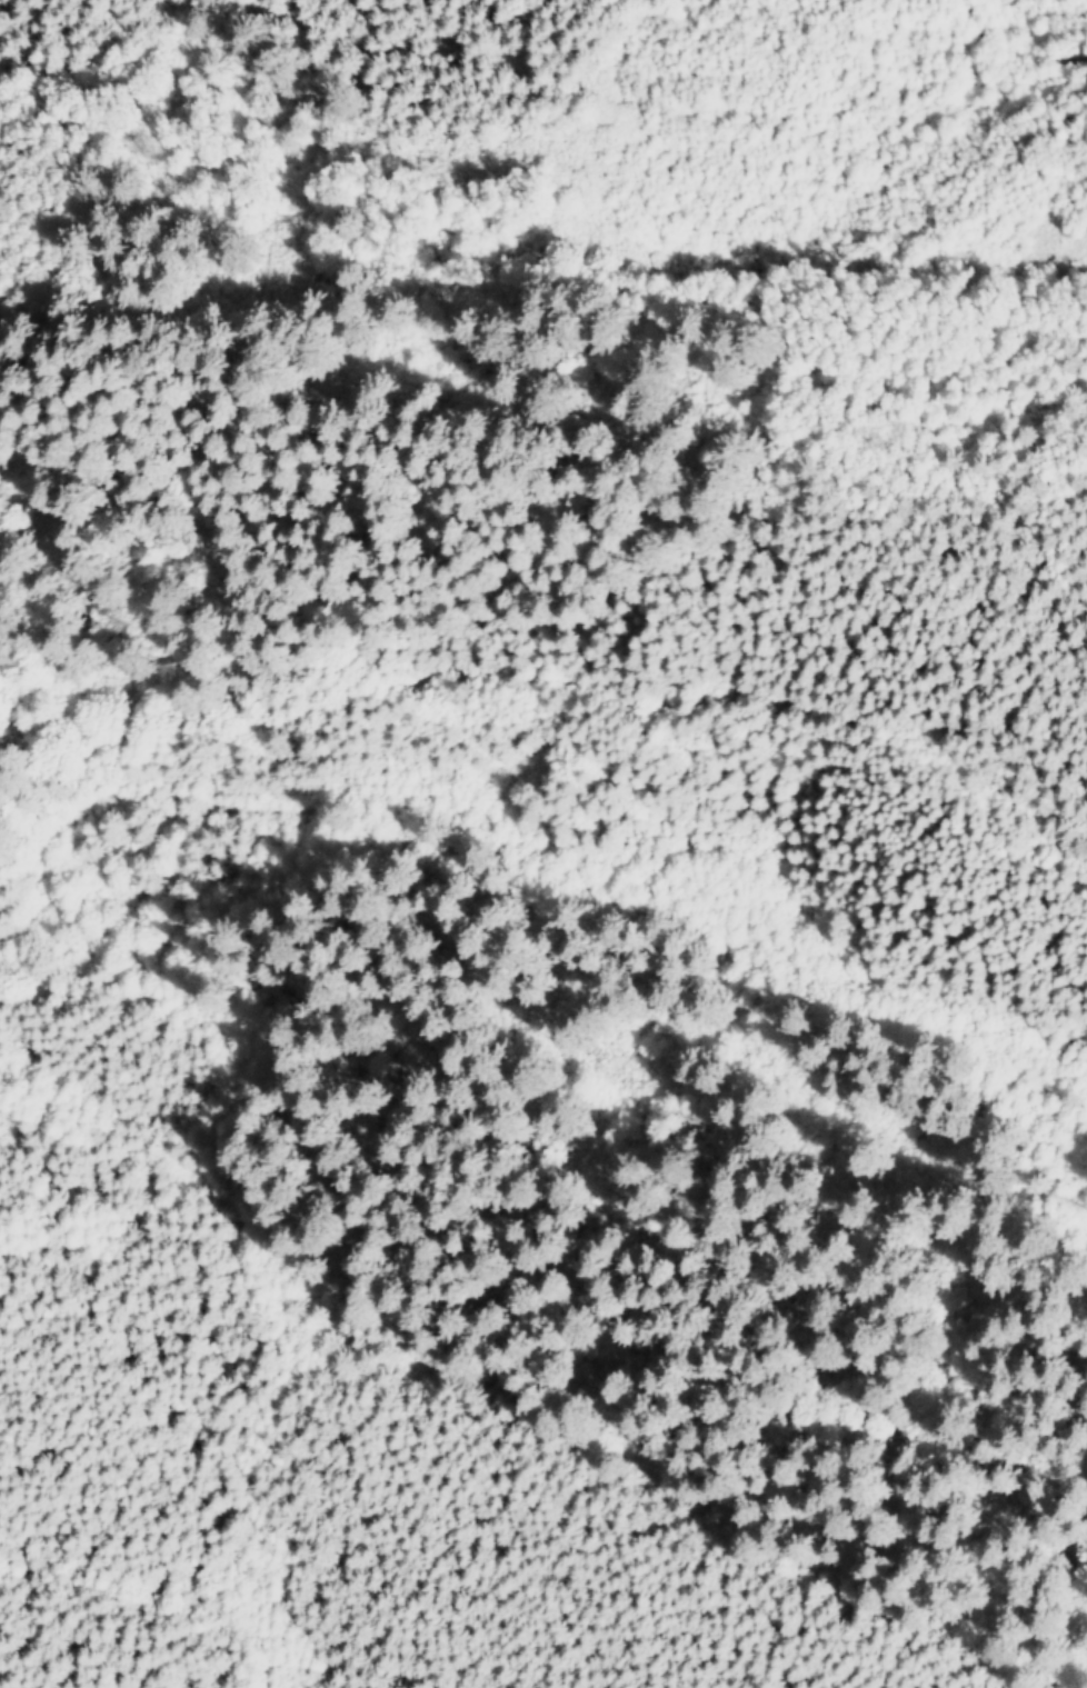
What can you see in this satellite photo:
road: (1009, 54)
road: (149, 787)
road: (533, 828)
road: (246, 1436)

